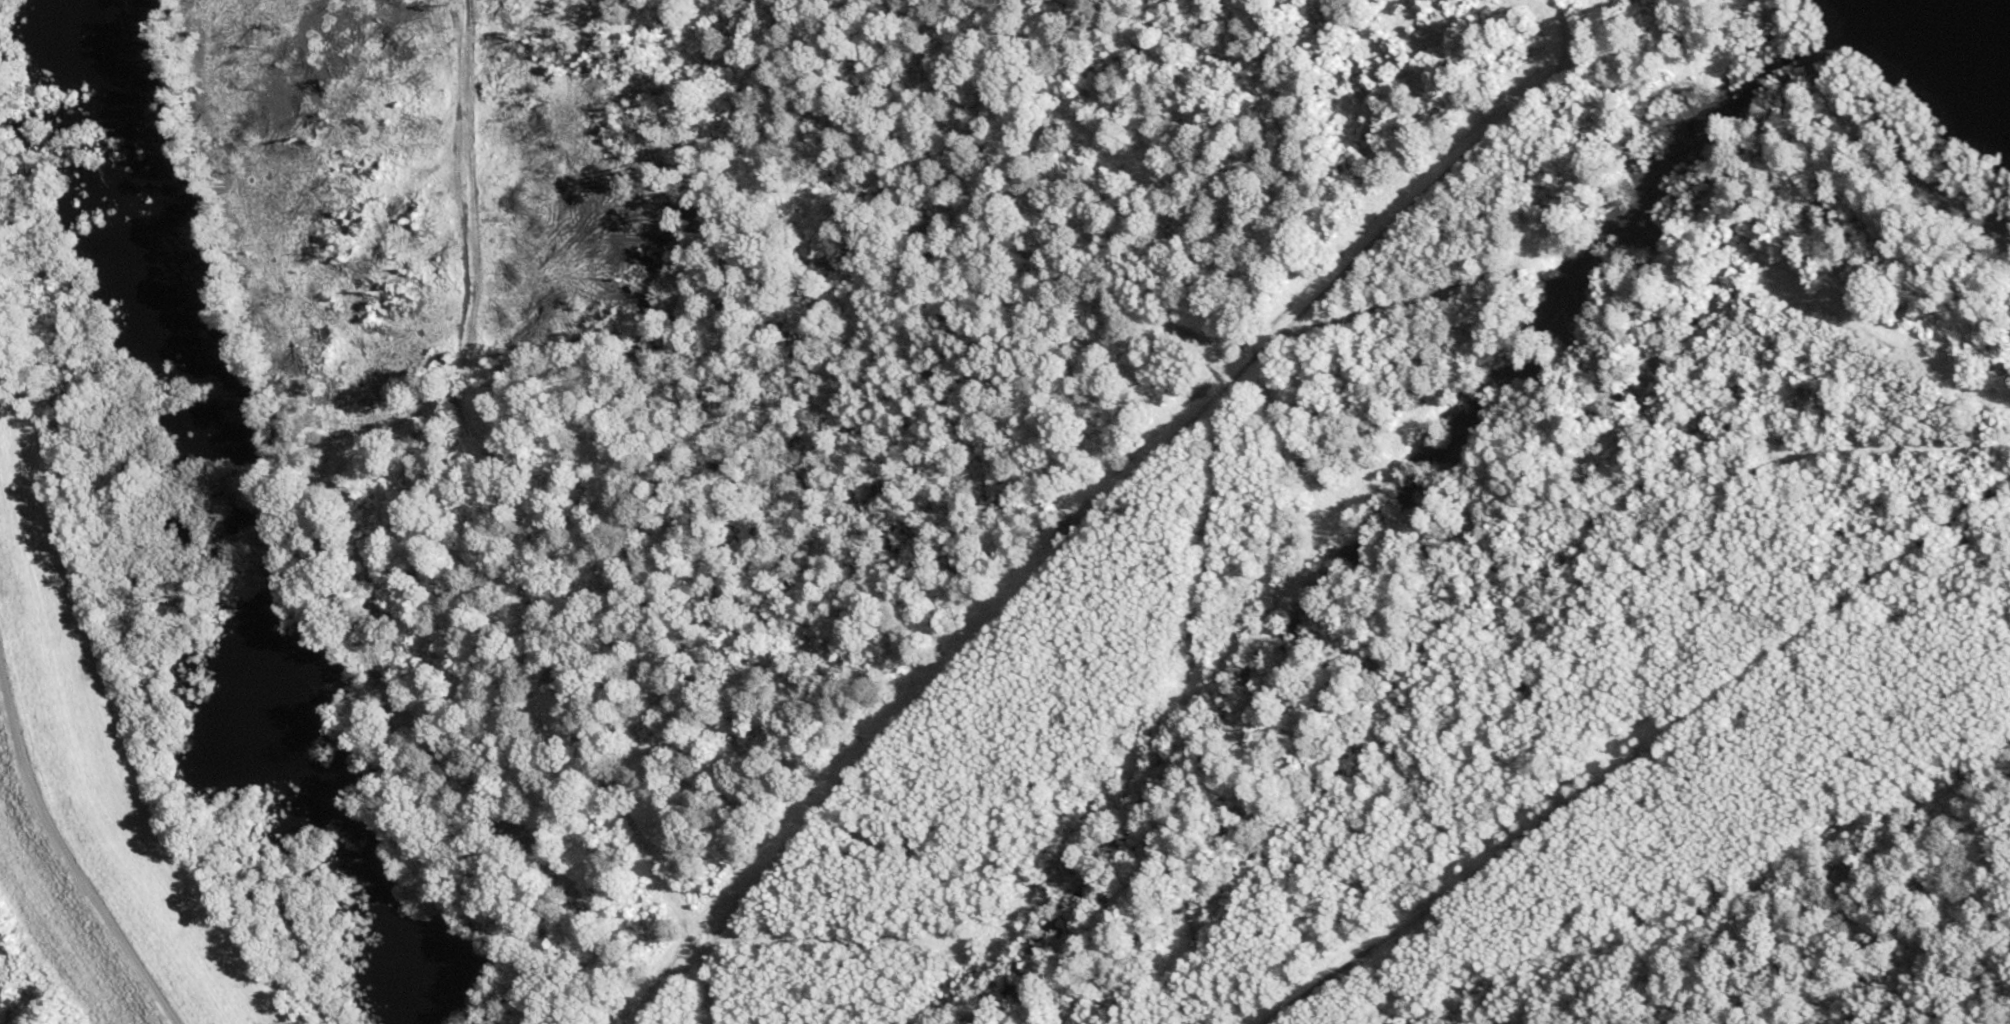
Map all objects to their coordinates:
river: (1979, 32)
road: (1111, 512)
road: (1638, 755)
road: (61, 859)

